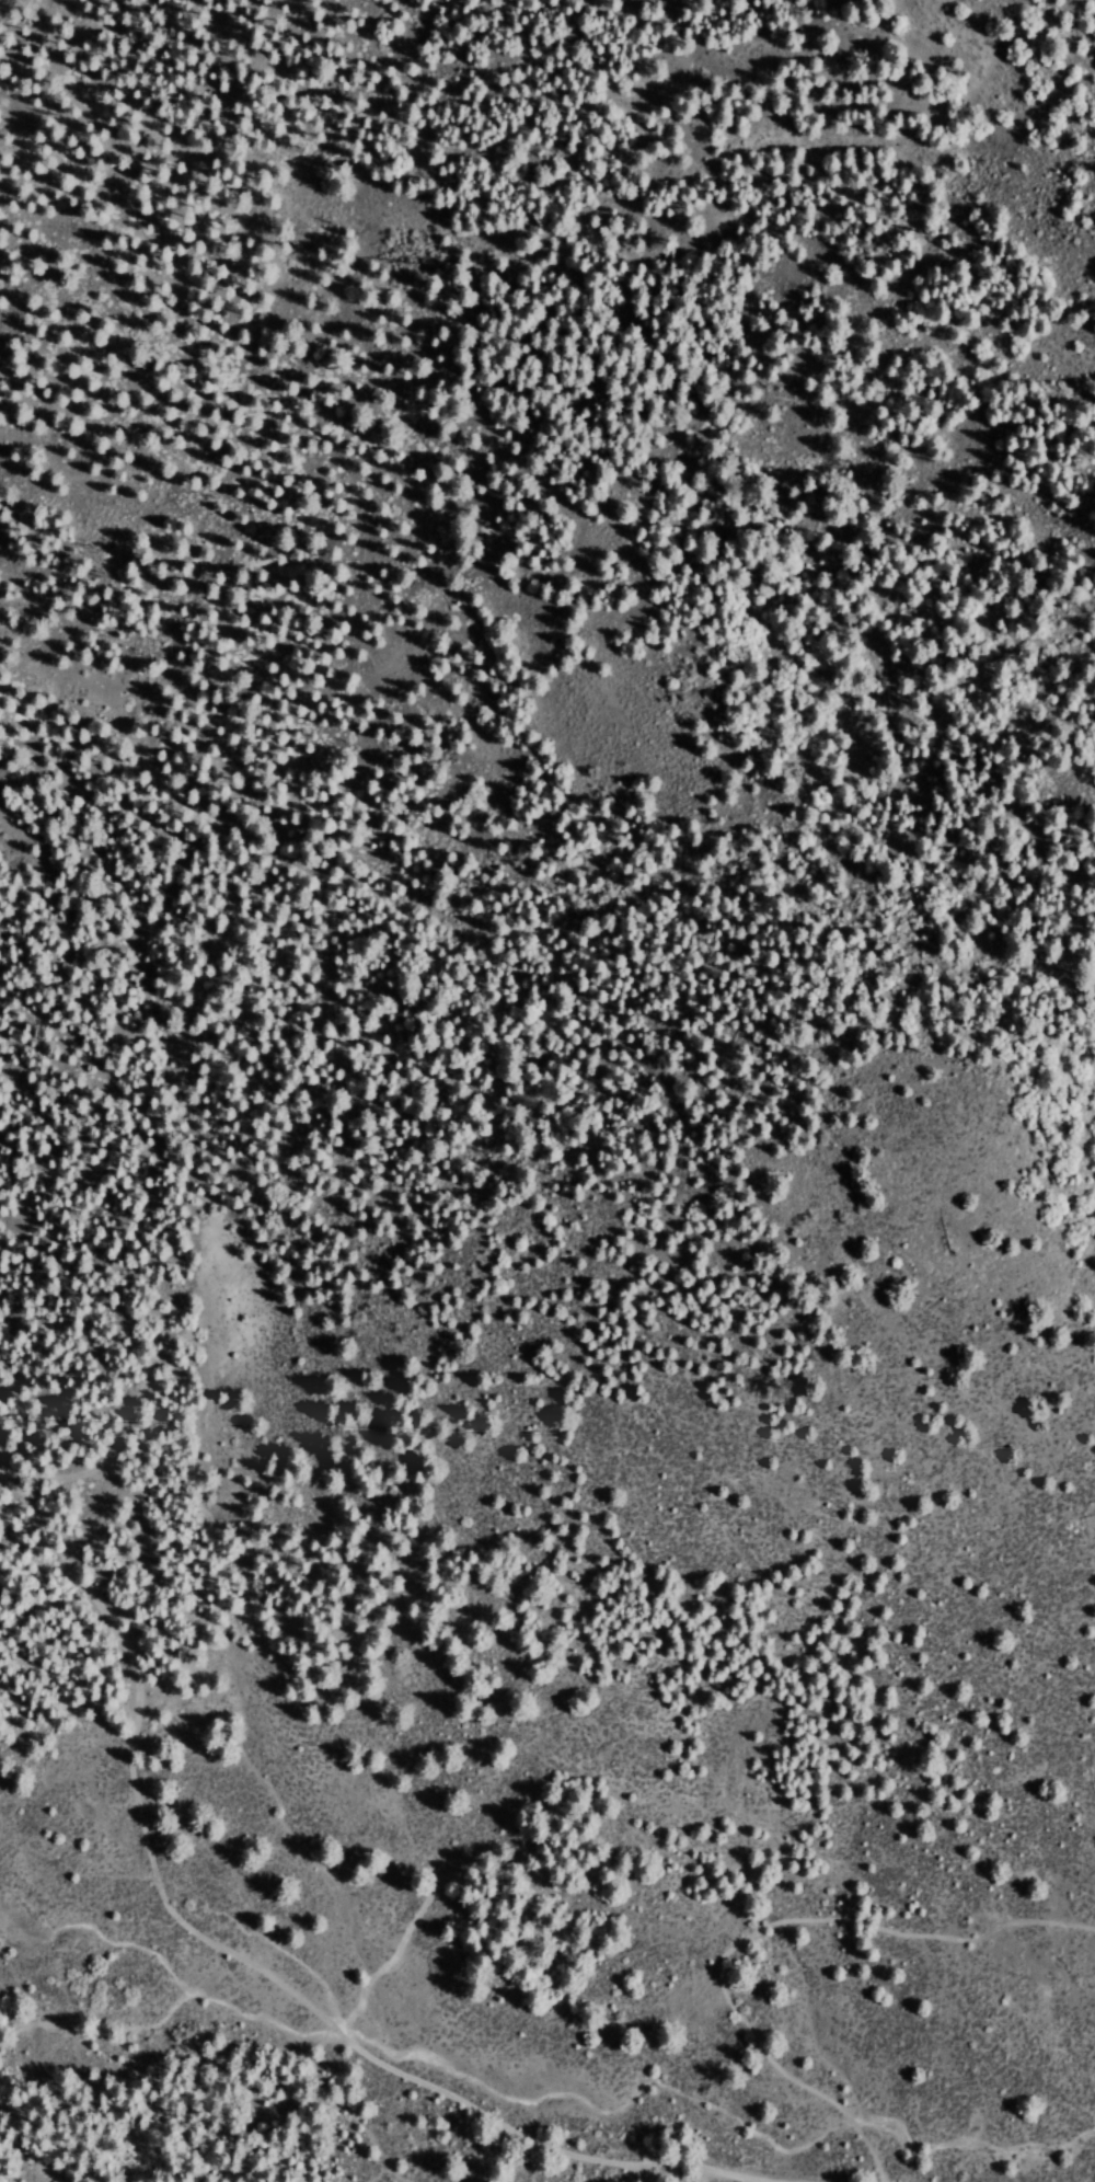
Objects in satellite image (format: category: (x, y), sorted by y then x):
road: (28, 1505)
road: (761, 1927)
road: (272, 1977)

